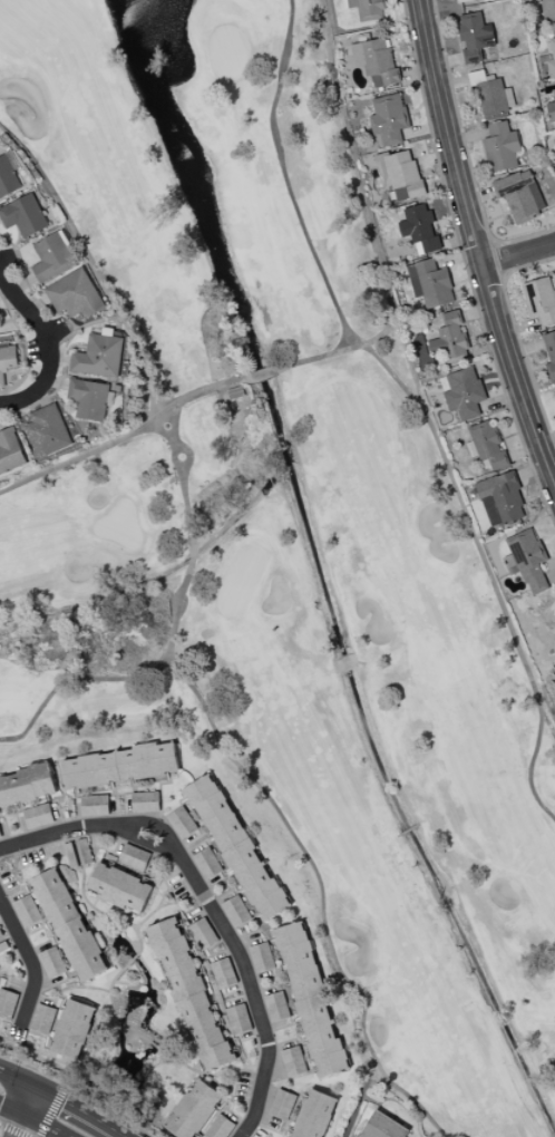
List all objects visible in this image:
building: (367, 9)
building: (548, 9)
building: (475, 36)
building: (553, 49)
building: (376, 60)
building: (554, 90)
building: (494, 96)
building: (551, 111)
building: (388, 118)
building: (502, 147)
building: (403, 175)
building: (7, 177)
building: (520, 195)
building: (23, 215)
building: (419, 229)
road: (478, 243)
road: (519, 255)
building: (51, 257)
building: (430, 283)
building: (75, 294)
building: (541, 300)
building: (450, 339)
road: (49, 344)
building: (549, 353)
building: (99, 356)
building: (7, 359)
building: (463, 392)
building: (88, 398)
building: (47, 430)
building: (486, 446)
building: (10, 450)
building: (500, 499)
park: (284, 527)
building: (526, 560)
building: (119, 766)
building: (26, 785)
building: (145, 801)
building: (95, 806)
building: (38, 816)
building: (182, 823)
building: (236, 847)
building: (78, 853)
building: (134, 857)
building: (207, 863)
building: (120, 887)
road: (212, 904)
building: (27, 911)
building: (236, 911)
building: (69, 924)
building: (203, 933)
building: (2, 941)
building: (262, 958)
road: (32, 960)
building: (52, 962)
building: (223, 973)
building: (189, 992)
building: (311, 1001)
building: (7, 1003)
building: (276, 1007)
building: (42, 1019)
building: (237, 1019)
building: (72, 1029)
building: (293, 1061)
road: (18, 1078)
road: (30, 1100)
traffic signals: (67, 1100)
building: (282, 1105)
road: (12, 1109)
road: (82, 1109)
building: (194, 1110)
building: (314, 1115)
road: (45, 1125)
road: (19, 1126)
building: (220, 1127)
building: (383, 1127)

